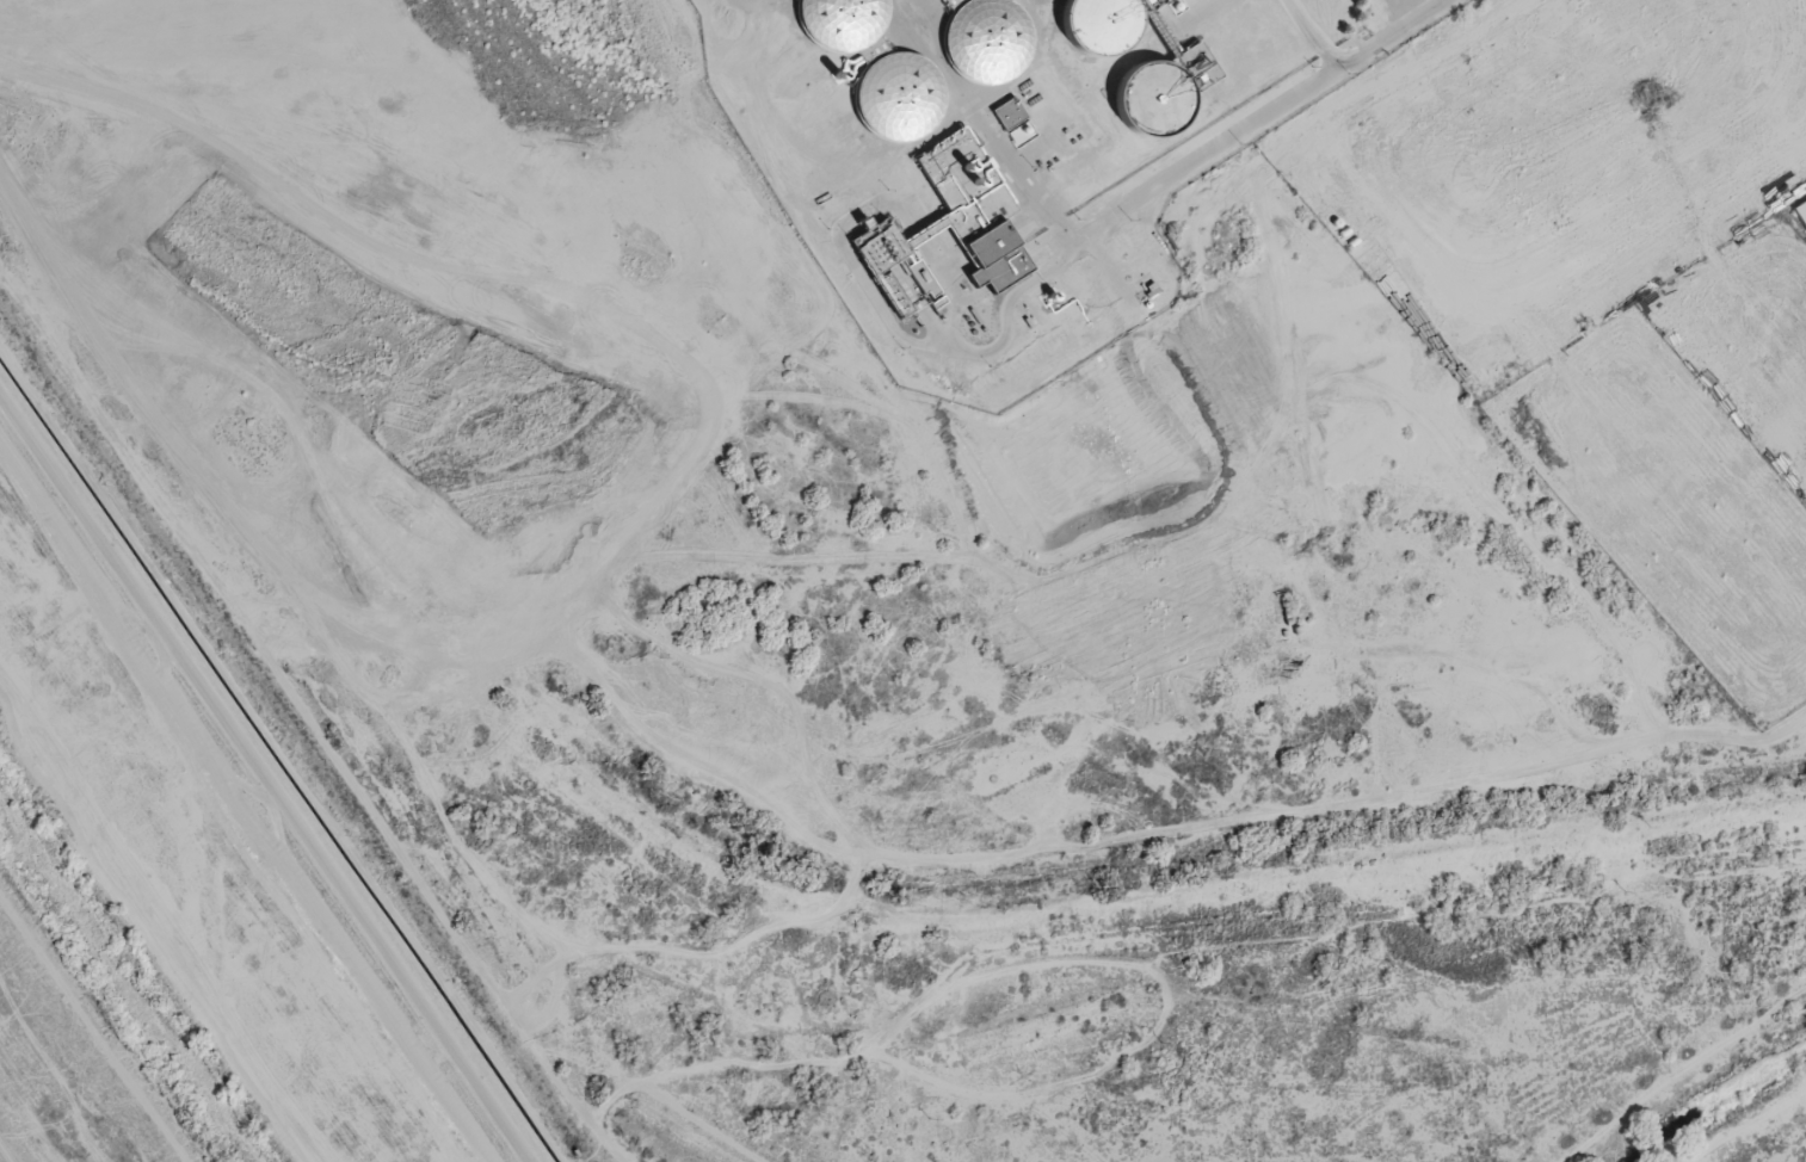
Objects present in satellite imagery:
building: (839, 21)
building: (1099, 25)
road: (1397, 35)
building: (986, 41)
building: (1164, 89)
building: (898, 95)
building: (1009, 112)
wastewater plant: (994, 159)
road: (1161, 187)
building: (949, 225)
river: (125, 982)
road: (4, 1155)

